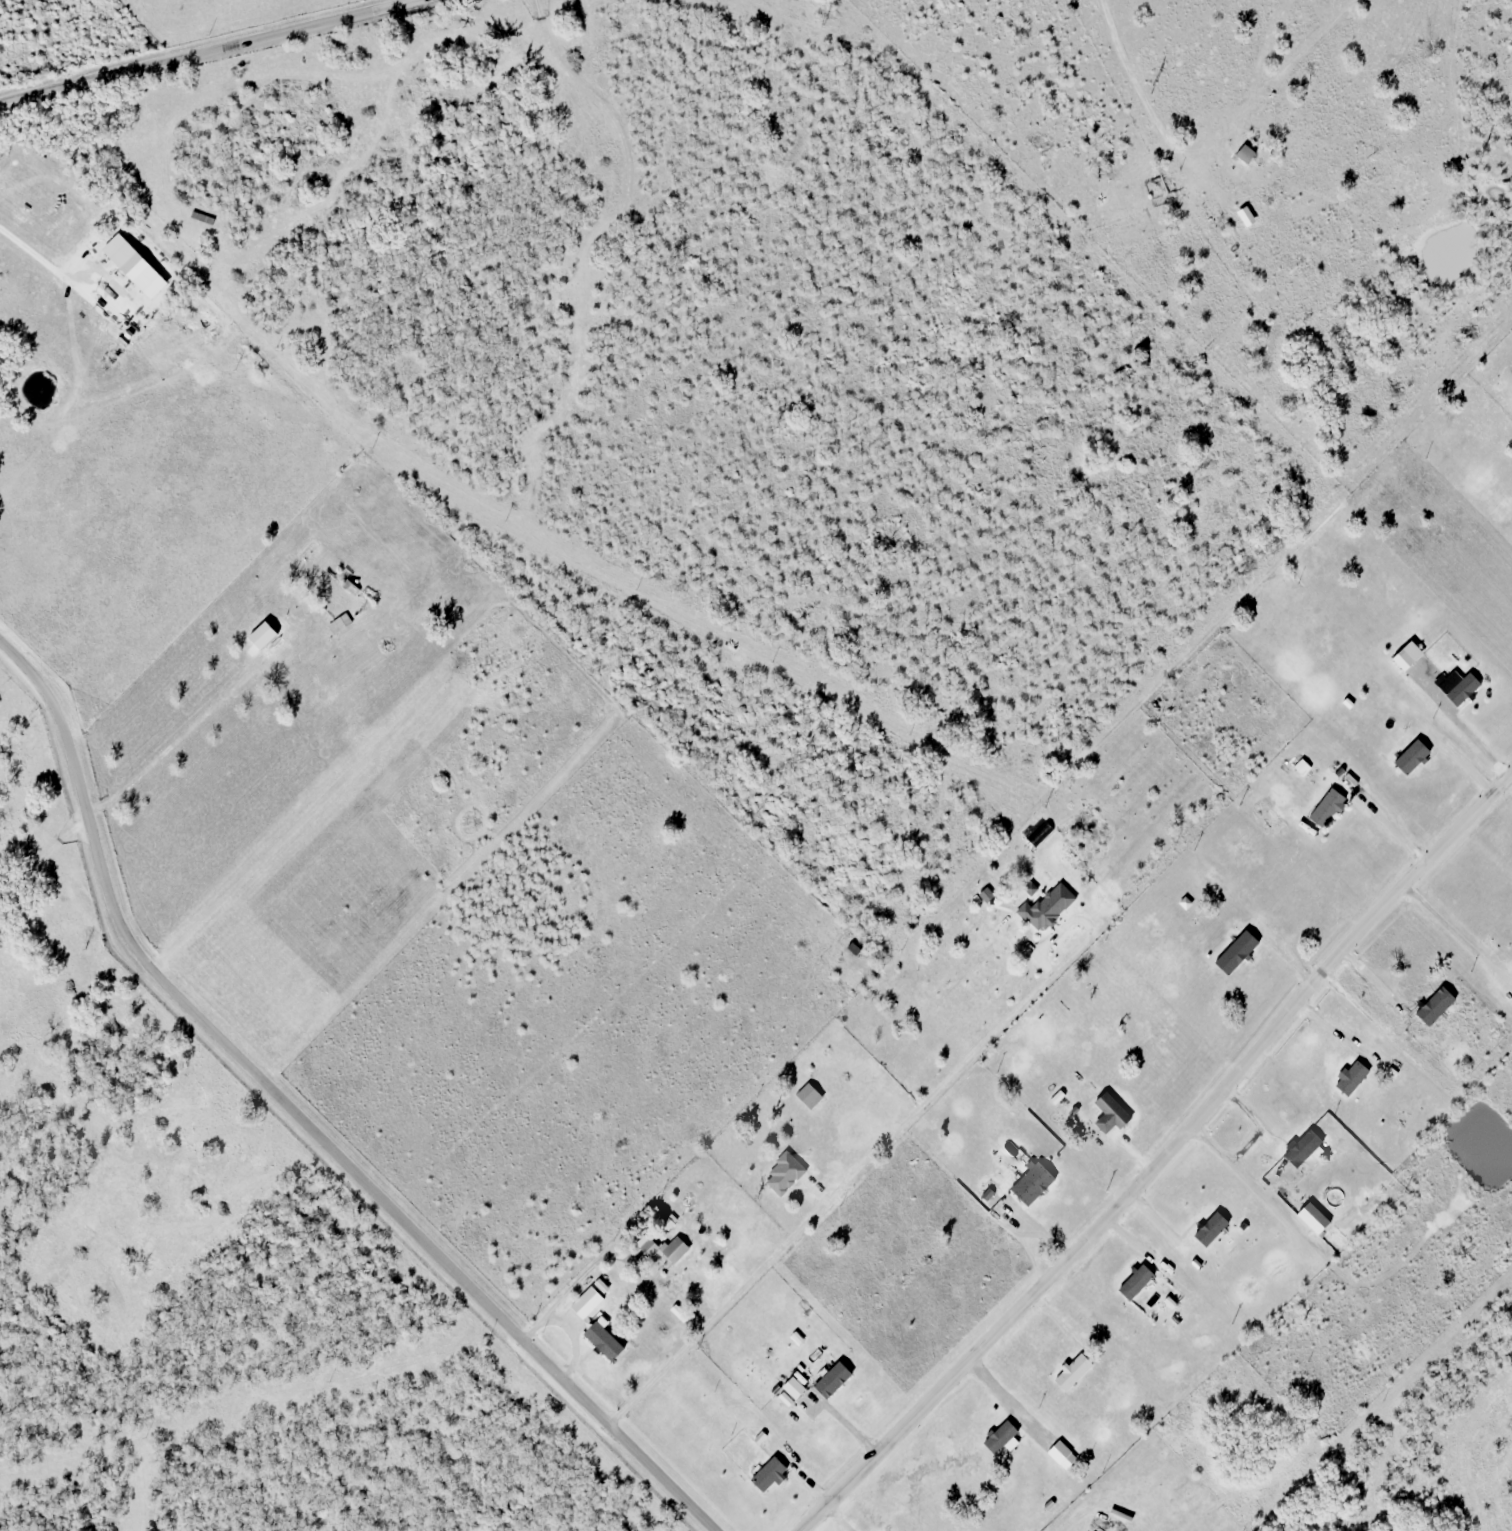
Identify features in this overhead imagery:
power tower: (822, 17)
road: (201, 48)
power tower: (1152, 89)
building: (1244, 153)
power tower: (1480, 157)
building: (1174, 186)
building: (202, 217)
building: (351, 587)
building: (340, 623)
building: (1349, 781)
building: (1326, 807)
road: (43, 858)
building: (1030, 889)
building: (986, 894)
building: (1045, 906)
building: (1236, 952)
building: (1392, 1072)
building: (1351, 1077)
building: (808, 1094)
building: (1111, 1116)
road: (304, 1121)
building: (1303, 1147)
road: (1161, 1158)
building: (784, 1172)
road: (850, 1176)
building: (1313, 1218)
building: (666, 1250)
building: (1072, 1371)
building: (1080, 1441)

